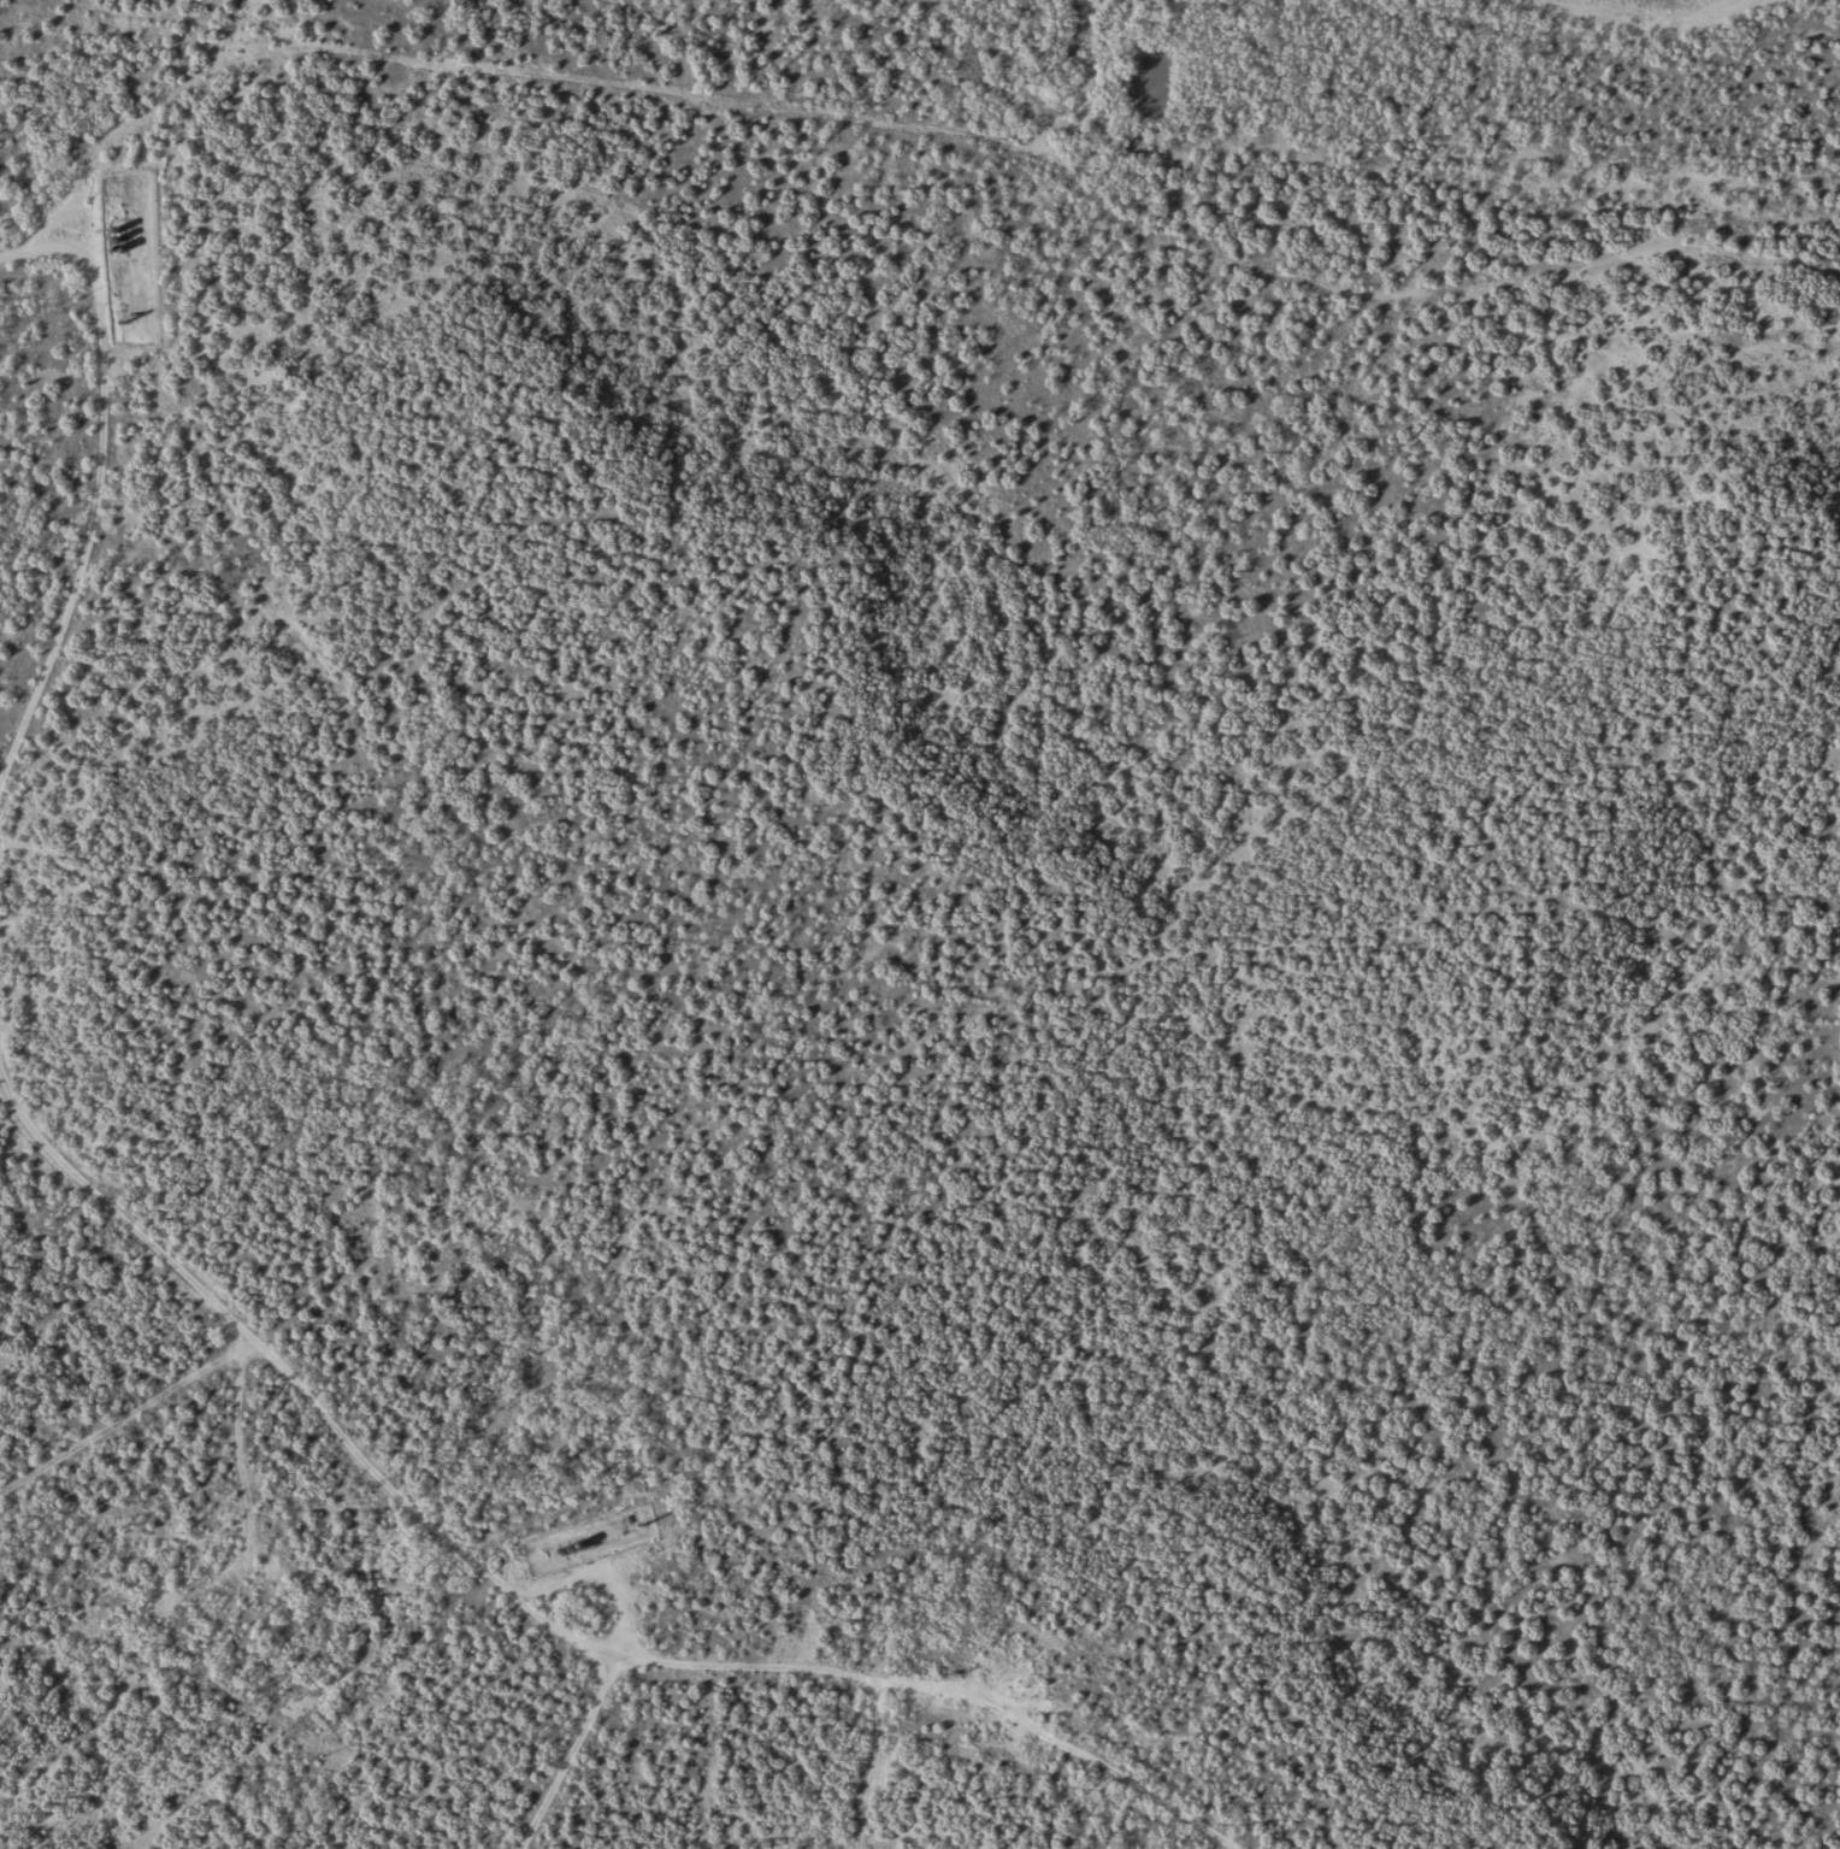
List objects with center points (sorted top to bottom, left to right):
road: (1329, 311)
road: (42, 1131)

